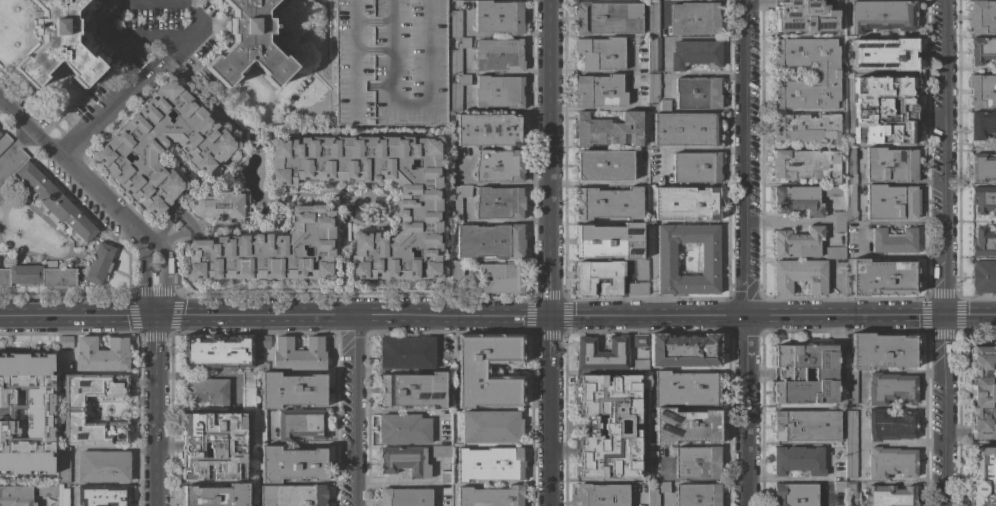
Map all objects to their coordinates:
building: (805, 15)
building: (883, 15)
building: (982, 16)
building: (498, 17)
building: (608, 18)
building: (653, 18)
building: (694, 18)
building: (456, 23)
road: (120, 40)
building: (57, 44)
building: (248, 44)
building: (982, 49)
building: (601, 53)
building: (653, 54)
building: (695, 54)
building: (882, 54)
building: (458, 55)
building: (499, 55)
building: (390, 62)
parking lot: (390, 62)
building: (825, 74)
road: (137, 82)
building: (652, 87)
building: (458, 91)
building: (599, 91)
building: (982, 91)
building: (498, 92)
building: (697, 93)
road: (199, 95)
building: (664, 105)
building: (884, 110)
building: (982, 124)
building: (806, 128)
building: (488, 129)
building: (685, 129)
building: (607, 130)
building: (4, 141)
building: (162, 146)
road: (701, 150)
road: (944, 156)
road: (548, 158)
road: (739, 158)
building: (806, 164)
building: (498, 165)
building: (604, 165)
building: (890, 165)
building: (696, 167)
building: (850, 167)
building: (983, 168)
road: (74, 173)
road: (503, 183)
building: (835, 190)
building: (46, 195)
building: (983, 199)
building: (797, 200)
building: (458, 201)
building: (891, 202)
building: (498, 203)
building: (608, 203)
building: (685, 203)
building: (850, 203)
building: (218, 205)
building: (418, 205)
building: (839, 216)
road: (183, 218)
building: (177, 224)
building: (838, 226)
building: (609, 240)
building: (894, 240)
building: (489, 241)
building: (798, 242)
building: (983, 243)
building: (269, 251)
building: (834, 253)
road: (891, 254)
building: (709, 259)
building: (98, 264)
building: (641, 270)
building: (38, 275)
building: (799, 276)
building: (983, 276)
building: (599, 277)
building: (881, 277)
building: (456, 278)
building: (501, 278)
road: (162, 279)
road: (143, 280)
building: (637, 288)
road: (870, 314)
traffic signals: (945, 314)
road: (646, 316)
road: (501, 317)
traffic signals: (549, 317)
road: (77, 318)
traffic signals: (154, 318)
road: (254, 318)
road: (404, 318)
building: (261, 340)
building: (639, 341)
building: (64, 342)
building: (684, 350)
building: (216, 351)
building: (882, 351)
building: (406, 353)
building: (101, 354)
building: (299, 354)
building: (601, 354)
building: (640, 365)
building: (260, 366)
building: (64, 367)
building: (472, 370)
building: (789, 374)
building: (850, 386)
building: (890, 388)
building: (685, 389)
building: (247, 390)
building: (291, 390)
building: (412, 390)
building: (205, 391)
building: (983, 392)
building: (73, 404)
road: (861, 406)
road: (945, 410)
road: (154, 411)
road: (549, 411)
road: (744, 411)
road: (354, 412)
building: (27, 414)
building: (300, 424)
building: (806, 425)
building: (890, 425)
building: (490, 426)
building: (608, 426)
building: (685, 426)
building: (260, 427)
building: (851, 427)
building: (403, 428)
road: (299, 443)
building: (213, 445)
road: (108, 449)
building: (441, 451)
building: (653, 453)
building: (798, 460)
building: (851, 460)
building: (404, 461)
building: (697, 462)
building: (890, 462)
building: (489, 463)
building: (63, 464)
building: (291, 464)
building: (103, 466)
building: (982, 476)
building: (445, 477)
road: (689, 479)
road: (782, 479)
road: (73, 483)
road: (404, 485)
building: (664, 486)
building: (838, 487)
building: (850, 488)
building: (53, 492)
building: (601, 494)
building: (697, 494)
building: (794, 494)
building: (102, 495)
building: (215, 495)
building: (292, 495)
building: (15, 496)
building: (490, 496)
building: (888, 496)
building: (404, 497)
building: (653, 497)
building: (848, 505)

